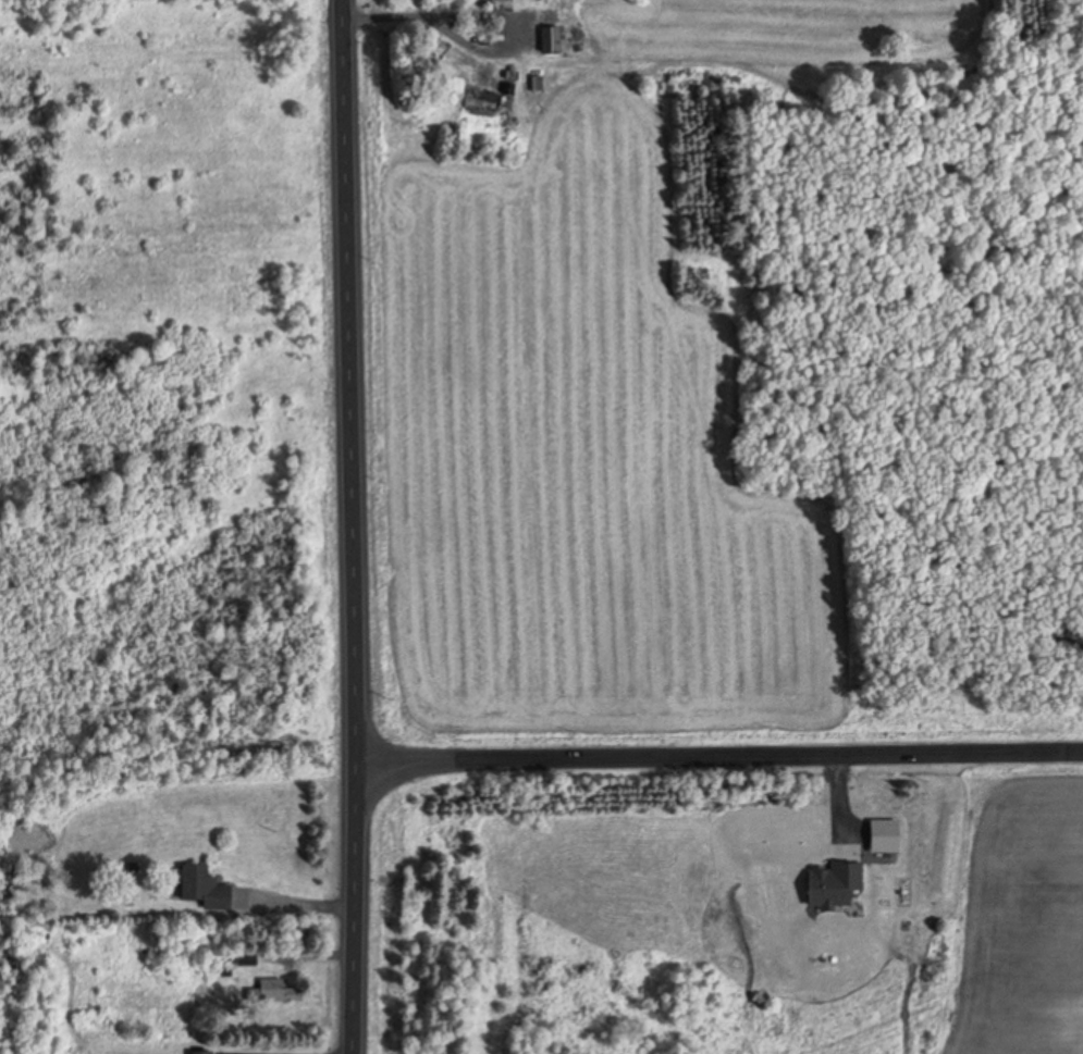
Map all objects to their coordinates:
building: (545, 41)
building: (476, 104)
crop: (588, 424)
road: (347, 526)
road: (717, 754)
building: (196, 890)
building: (270, 993)
building: (196, 1053)

